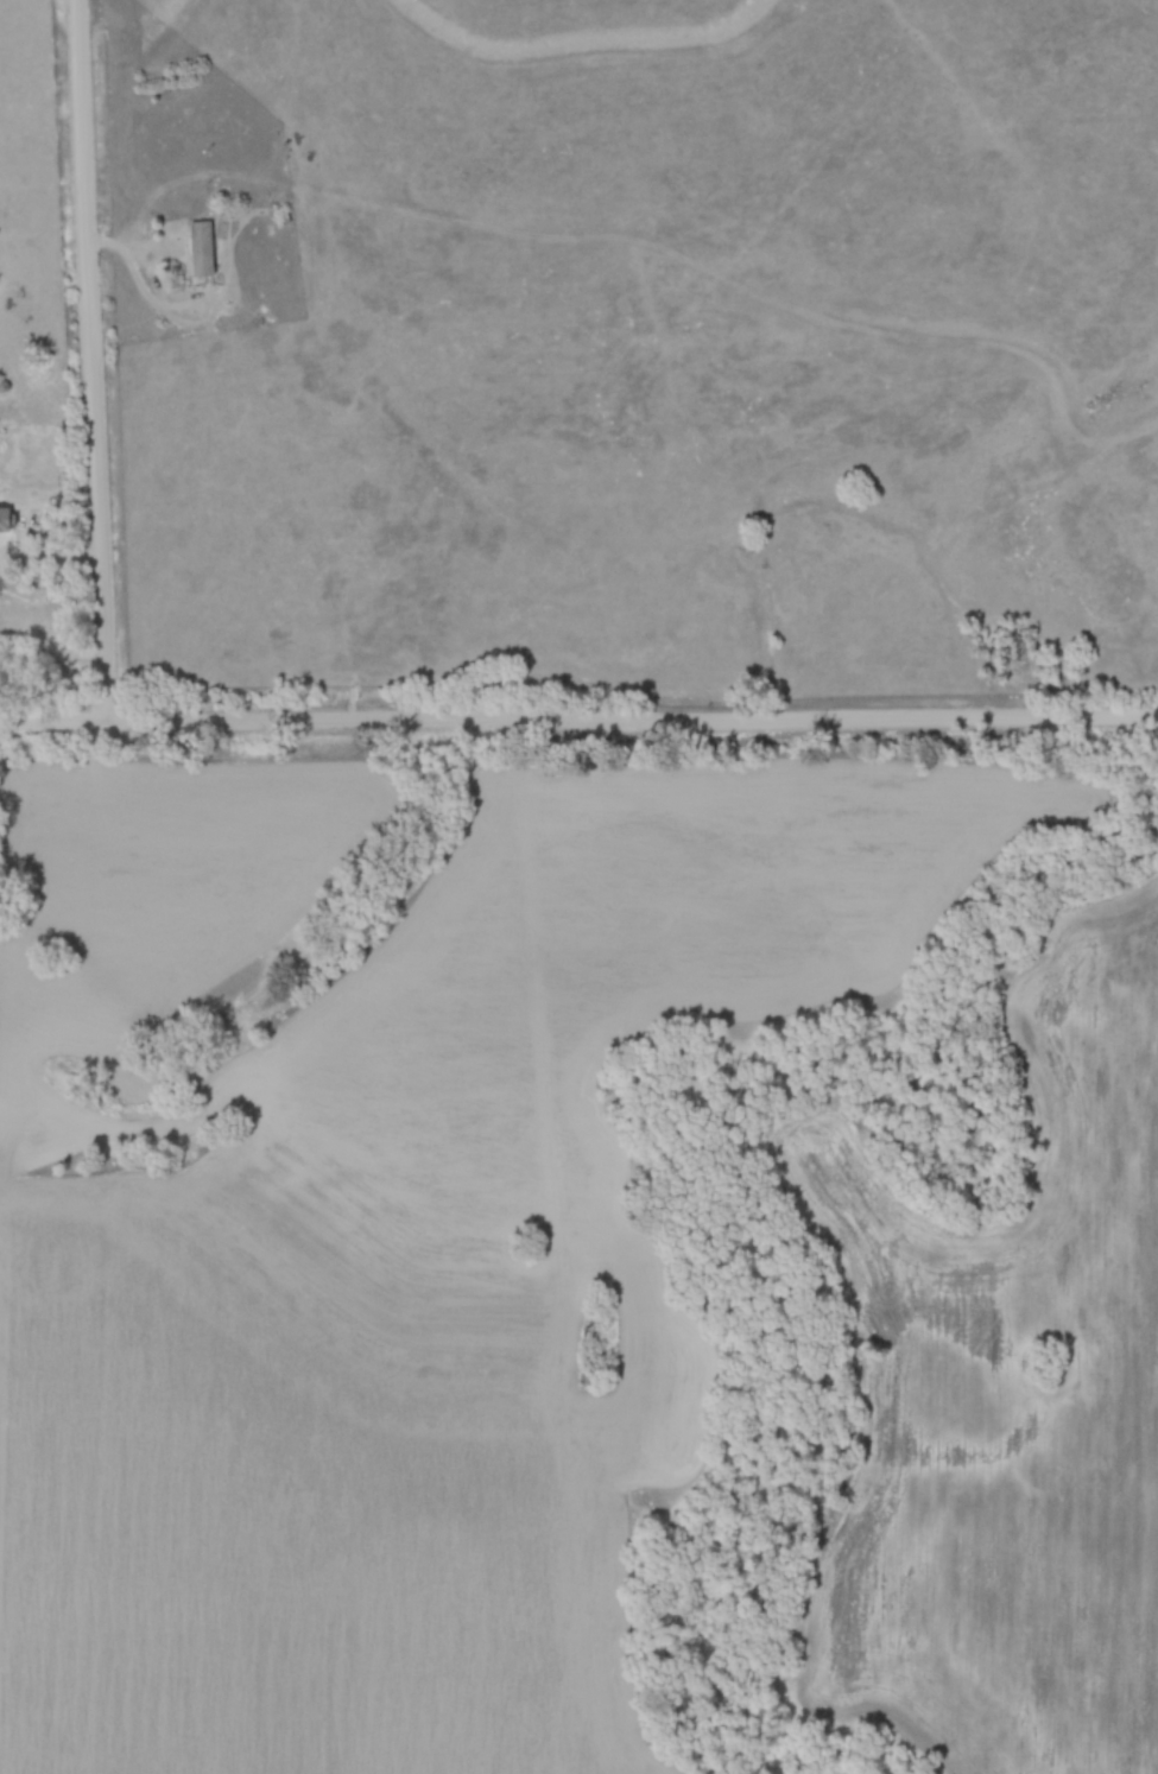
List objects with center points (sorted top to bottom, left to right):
building: (200, 247)
road: (91, 360)
building: (5, 517)
road: (51, 557)
building: (42, 577)
road: (578, 722)

